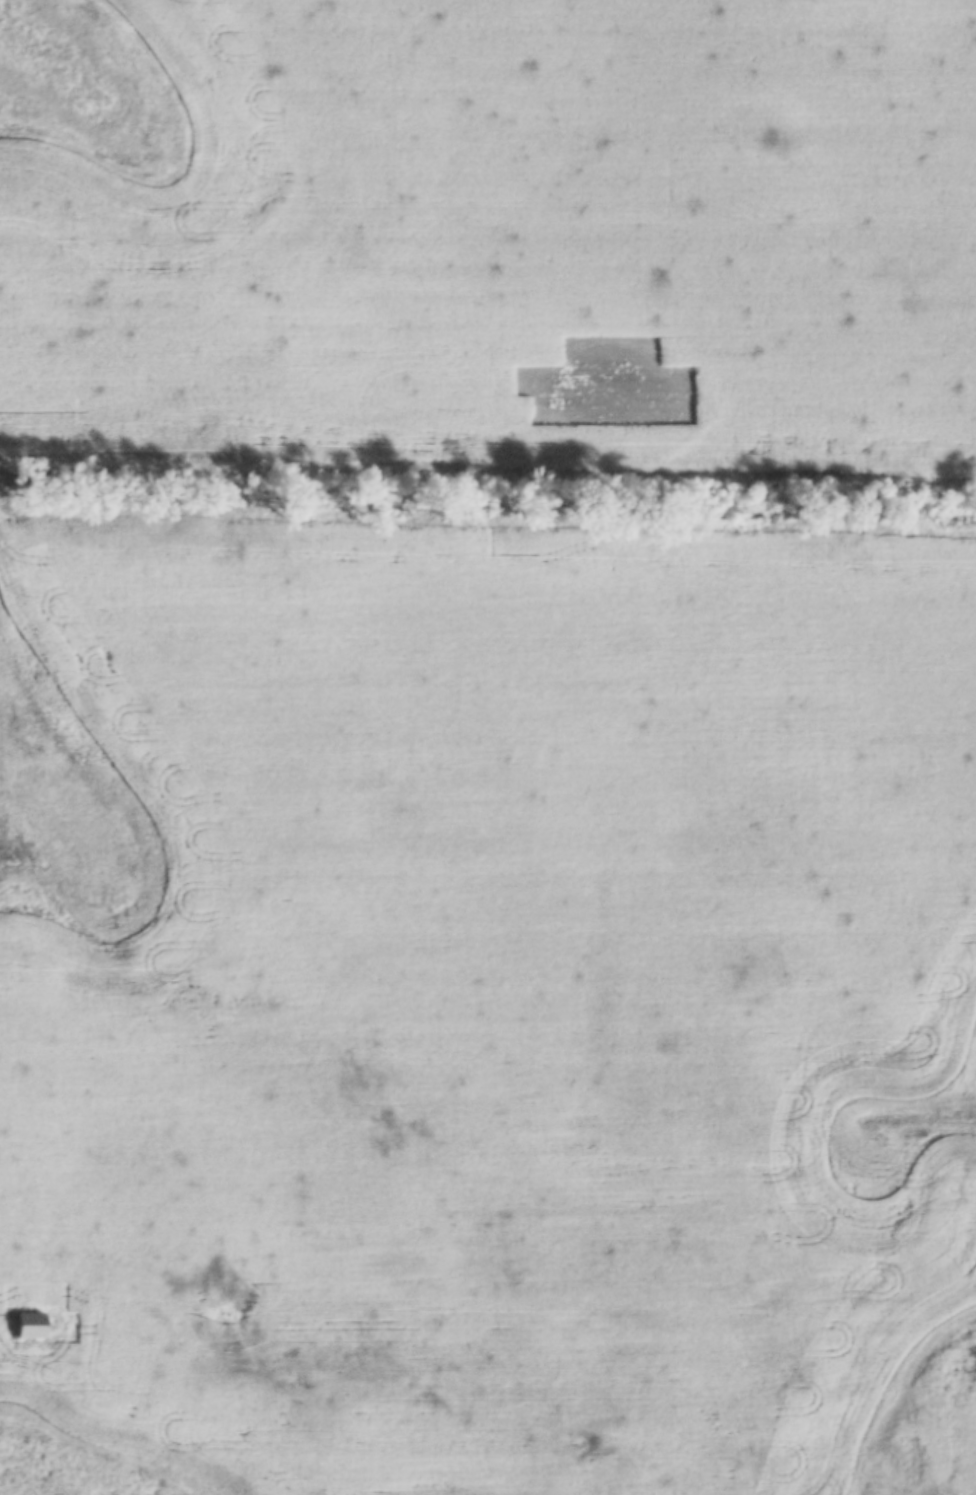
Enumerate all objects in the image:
road: (3, 1249)
building: (33, 1326)

